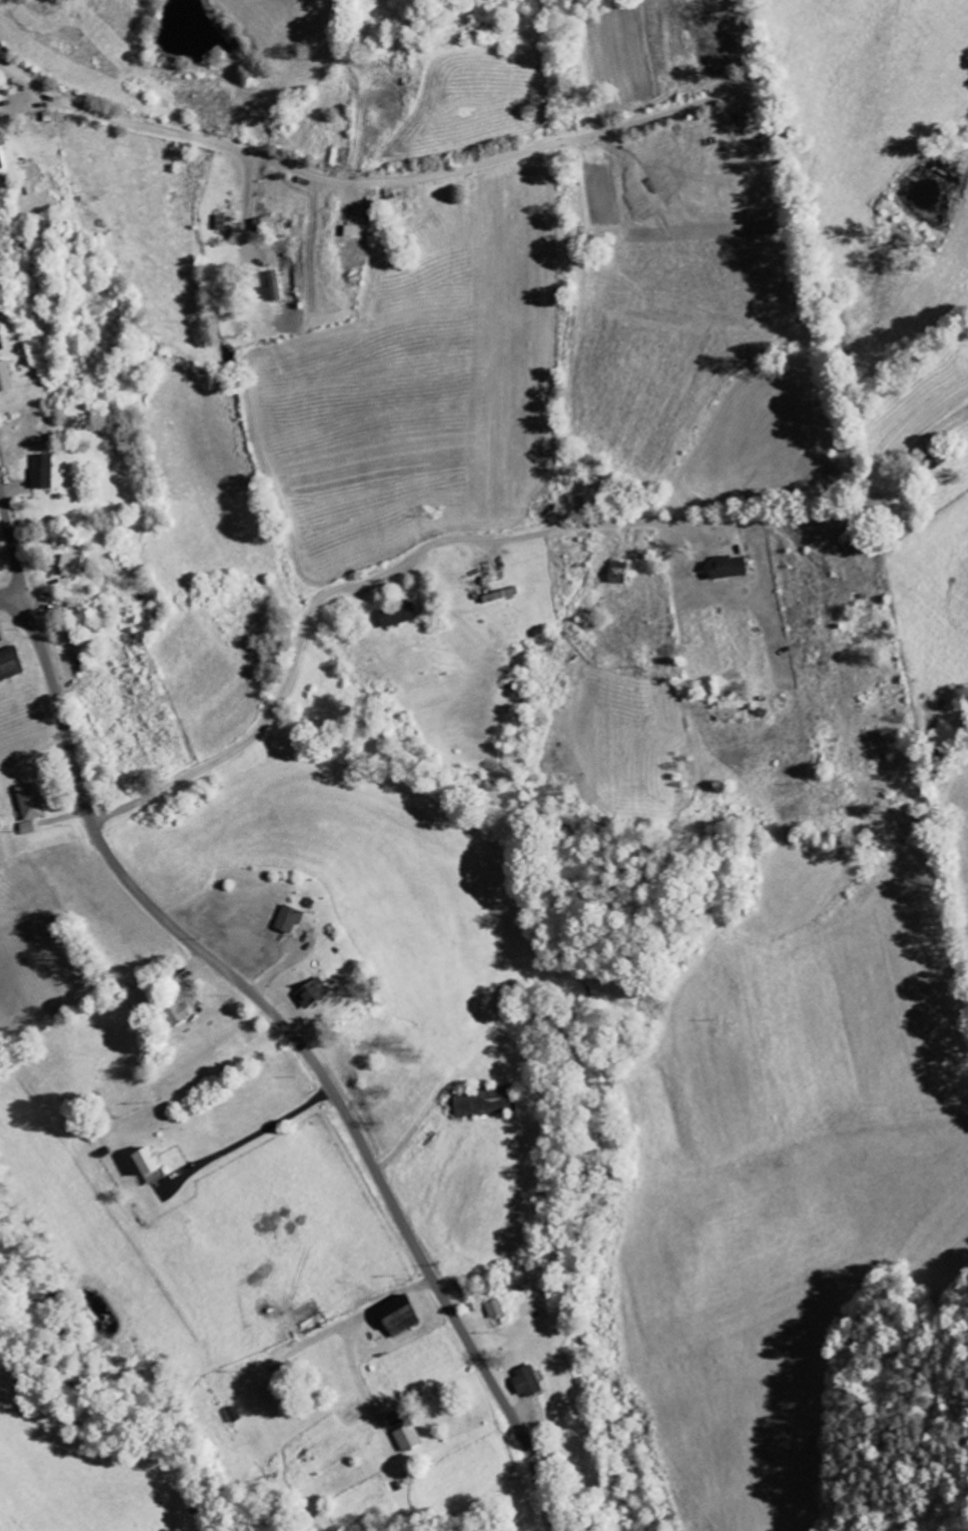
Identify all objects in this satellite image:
building: (2, 140)
building: (1, 163)
road: (364, 181)
building: (224, 222)
building: (274, 287)
building: (5, 378)
road: (910, 451)
building: (42, 471)
road: (15, 548)
road: (417, 551)
building: (73, 564)
building: (726, 567)
road: (8, 607)
building: (398, 615)
building: (2, 633)
building: (9, 664)
building: (29, 802)
building: (27, 828)
building: (289, 919)
building: (312, 993)
building: (177, 1015)
road: (304, 1053)
building: (485, 1102)
building: (147, 1166)
building: (495, 1309)
building: (397, 1317)
building: (527, 1382)
building: (235, 1415)
building: (408, 1438)

